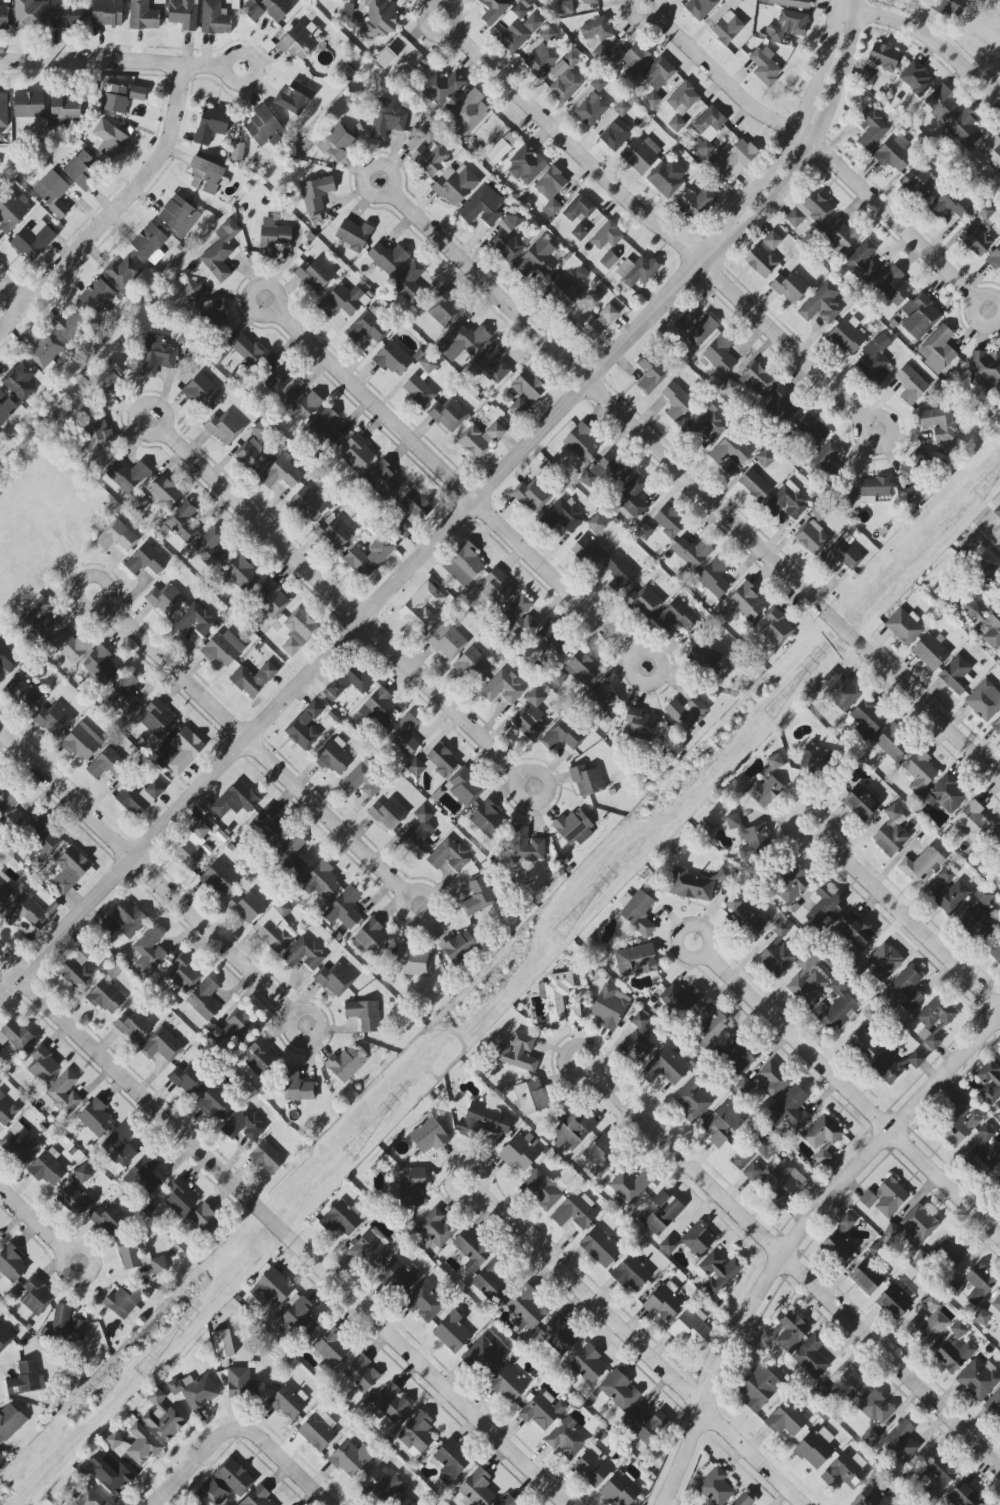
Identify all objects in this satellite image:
building: (344, 0)
building: (590, 1)
building: (734, 3)
building: (789, 3)
building: (565, 7)
building: (949, 7)
building: (277, 8)
building: (700, 8)
road: (430, 10)
building: (494, 10)
building: (252, 11)
building: (107, 13)
building: (29, 14)
building: (66, 14)
building: (184, 14)
building: (143, 16)
building: (3, 17)
building: (215, 18)
building: (379, 19)
road: (642, 22)
building: (789, 25)
building: (727, 28)
building: (597, 30)
building: (548, 35)
road: (928, 36)
building: (510, 37)
building: (300, 41)
road: (229, 60)
building: (540, 60)
building: (631, 60)
road: (113, 61)
building: (879, 63)
building: (765, 66)
building: (658, 74)
building: (565, 77)
building: (916, 79)
building: (598, 84)
building: (441, 86)
building: (137, 93)
road: (998, 97)
building: (114, 98)
building: (294, 99)
building: (683, 99)
building: (652, 100)
building: (29, 104)
building: (942, 104)
building: (621, 108)
building: (65, 109)
building: (591, 109)
building: (3, 111)
building: (468, 114)
building: (387, 119)
building: (211, 124)
building: (676, 124)
building: (264, 127)
building: (871, 128)
building: (708, 129)
building: (965, 129)
building: (429, 134)
building: (615, 135)
building: (109, 140)
road: (788, 140)
building: (337, 142)
road: (810, 149)
building: (990, 150)
road: (820, 151)
building: (640, 154)
building: (894, 154)
building: (738, 158)
building: (430, 159)
building: (526, 165)
building: (81, 170)
road: (367, 170)
building: (999, 175)
building: (205, 176)
building: (667, 177)
building: (921, 182)
building: (455, 185)
building: (551, 189)
building: (52, 192)
building: (316, 193)
building: (696, 202)
building: (950, 204)
building: (482, 206)
road: (113, 208)
building: (579, 208)
building: (811, 210)
building: (12, 211)
building: (178, 216)
road: (657, 225)
building: (580, 232)
building: (840, 234)
building: (354, 235)
building: (607, 236)
building: (273, 237)
building: (508, 237)
building: (33, 240)
building: (975, 240)
building: (149, 241)
building: (771, 241)
building: (221, 251)
building: (388, 258)
building: (994, 259)
building: (536, 260)
building: (760, 261)
building: (863, 262)
building: (636, 271)
building: (123, 272)
building: (315, 274)
building: (412, 282)
building: (789, 286)
building: (894, 286)
building: (192, 289)
road: (12, 290)
building: (564, 292)
building: (97, 297)
building: (343, 301)
building: (821, 305)
road: (279, 309)
building: (445, 309)
road: (970, 311)
building: (213, 314)
building: (918, 315)
building: (594, 321)
building: (71, 326)
building: (367, 328)
building: (694, 330)
building: (847, 336)
building: (468, 338)
building: (938, 348)
building: (247, 350)
building: (45, 351)
building: (720, 354)
building: (157, 355)
building: (393, 359)
building: (875, 360)
building: (493, 362)
building: (427, 365)
building: (985, 368)
building: (651, 373)
building: (276, 375)
building: (104, 377)
building: (757, 379)
building: (20, 381)
building: (910, 385)
building: (529, 386)
building: (730, 388)
building: (202, 391)
building: (419, 391)
building: (677, 402)
building: (301, 403)
building: (781, 404)
building: (6, 408)
building: (518, 408)
building: (448, 414)
road: (865, 420)
building: (705, 423)
building: (940, 426)
road: (166, 427)
building: (224, 427)
building: (324, 428)
building: (496, 431)
building: (811, 431)
building: (97, 433)
building: (474, 443)
building: (581, 443)
building: (730, 450)
building: (358, 453)
building: (251, 457)
building: (765, 458)
building: (826, 459)
building: (614, 467)
building: (730, 467)
building: (281, 473)
building: (128, 475)
building: (383, 480)
road: (697, 482)
road: (456, 485)
building: (755, 485)
building: (874, 487)
building: (164, 494)
building: (532, 494)
building: (910, 495)
power tower: (978, 496)
building: (632, 497)
building: (787, 502)
building: (308, 504)
building: (994, 508)
building: (411, 513)
building: (562, 516)
building: (183, 521)
building: (669, 521)
building: (596, 524)
building: (643, 531)
building: (334, 533)
building: (116, 537)
building: (812, 538)
building: (211, 548)
building: (587, 551)
building: (692, 552)
building: (841, 554)
building: (369, 557)
building: (146, 560)
building: (464, 564)
building: (619, 573)
building: (242, 574)
building: (982, 576)
building: (715, 577)
building: (496, 588)
road: (110, 598)
building: (166, 599)
building: (271, 600)
building: (645, 601)
building: (747, 602)
road: (341, 603)
building: (423, 606)
building: (519, 616)
building: (676, 616)
building: (40, 617)
building: (195, 620)
building: (985, 623)
building: (904, 626)
building: (774, 628)
road: (351, 630)
building: (298, 632)
building: (447, 641)
building: (550, 642)
building: (71, 645)
building: (223, 648)
building: (930, 652)
road: (641, 653)
building: (7, 658)
building: (706, 660)
building: (100, 665)
building: (473, 666)
building: (582, 668)
building: (956, 675)
building: (253, 679)
building: (348, 681)
building: (502, 688)
building: (842, 693)
building: (122, 695)
building: (24, 696)
building: (984, 701)
building: (601, 703)
building: (380, 709)
building: (687, 714)
power tower: (767, 715)
building: (531, 716)
building: (156, 718)
building: (53, 719)
building: (865, 720)
building: (641, 722)
building: (997, 725)
building: (305, 727)
building: (404, 735)
building: (563, 736)
building: (81, 744)
building: (891, 746)
building: (185, 750)
road: (256, 750)
building: (334, 757)
building: (814, 758)
building: (775, 762)
building: (435, 763)
building: (108, 765)
building: (919, 771)
road: (525, 772)
building: (587, 781)
building: (361, 782)
building: (2, 786)
building: (465, 788)
building: (764, 791)
building: (946, 795)
building: (139, 797)
building: (235, 800)
building: (861, 802)
building: (10, 810)
road: (795, 812)
building: (388, 814)
building: (487, 819)
building: (972, 821)
building: (268, 827)
building: (574, 828)
building: (891, 832)
building: (419, 834)
building: (45, 838)
building: (749, 838)
building: (994, 840)
building: (526, 845)
building: (192, 847)
building: (291, 855)
building: (448, 856)
building: (921, 866)
building: (70, 869)
road: (146, 872)
building: (220, 878)
building: (320, 880)
building: (695, 883)
building: (792, 883)
building: (5, 891)
road: (414, 891)
building: (949, 892)
building: (478, 896)
building: (825, 906)
building: (248, 907)
building: (346, 907)
building: (283, 908)
building: (23, 911)
building: (638, 913)
building: (745, 916)
building: (130, 919)
road: (910, 920)
building: (978, 924)
building: (109, 926)
building: (274, 930)
road: (681, 932)
building: (854, 933)
power tower: (559, 934)
building: (373, 938)
building: (459, 946)
building: (151, 947)
building: (995, 951)
building: (777, 952)
building: (304, 954)
building: (415, 960)
building: (635, 960)
building: (884, 963)
building: (77, 968)
building: (335, 978)
building: (807, 979)
building: (904, 990)
building: (556, 995)
building: (106, 996)
building: (204, 999)
building: (681, 999)
building: (838, 1006)
building: (610, 1007)
road: (297, 1010)
building: (573, 1013)
building: (365, 1014)
building: (934, 1021)
building: (713, 1024)
building: (134, 1025)
building: (239, 1025)
building: (215, 1035)
building: (15, 1036)
building: (638, 1041)
building: (162, 1045)
building: (863, 1045)
building: (517, 1052)
road: (569, 1052)
building: (741, 1056)
building: (261, 1057)
building: (915, 1059)
building: (345, 1064)
building: (887, 1065)
building: (43, 1066)
building: (665, 1068)
building: (189, 1080)
building: (771, 1081)
building: (990, 1081)
building: (298, 1086)
building: (744, 1086)
building: (63, 1093)
road: (853, 1096)
building: (531, 1097)
building: (693, 1101)
building: (960, 1102)
building: (216, 1103)
building: (790, 1110)
building: (7, 1112)
building: (96, 1118)
building: (488, 1120)
building: (244, 1125)
building: (722, 1125)
building: (958, 1127)
building: (573, 1129)
building: (428, 1134)
building: (823, 1137)
building: (21, 1143)
building: (119, 1145)
building: (754, 1151)
building: (985, 1152)
building: (519, 1153)
power tower: (349, 1154)
building: (599, 1156)
building: (267, 1157)
building: (47, 1168)
road: (456, 1169)
building: (146, 1172)
building: (752, 1172)
building: (783, 1183)
building: (630, 1185)
building: (998, 1186)
building: (409, 1187)
building: (543, 1189)
building: (886, 1197)
building: (181, 1198)
building: (73, 1200)
building: (575, 1212)
building: (662, 1213)
building: (110, 1218)
building: (342, 1219)
building: (207, 1220)
road: (33, 1221)
building: (846, 1222)
building: (918, 1225)
building: (437, 1228)
road: (283, 1232)
road: (799, 1239)
building: (690, 1241)
building: (600, 1247)
building: (838, 1247)
building: (371, 1249)
building: (471, 1250)
building: (950, 1251)
building: (128, 1253)
road: (66, 1254)
building: (12, 1264)
building: (158, 1266)
road: (797, 1269)
building: (720, 1272)
building: (631, 1273)
building: (397, 1277)
building: (867, 1278)
building: (490, 1282)
building: (979, 1284)
building: (954, 1287)
building: (272, 1288)
building: (35, 1296)
building: (123, 1300)
building: (894, 1301)
building: (425, 1302)
building: (663, 1303)
building: (527, 1307)
building: (988, 1313)
building: (927, 1324)
building: (67, 1325)
building: (690, 1328)
building: (959, 1329)
building: (786, 1332)
building: (452, 1334)
building: (559, 1335)
building: (4, 1338)
building: (222, 1344)
building: (330, 1348)
road: (640, 1348)
building: (485, 1352)
building: (955, 1354)
building: (811, 1356)
building: (588, 1365)
power tower: (140, 1373)
building: (361, 1373)
building: (25, 1379)
building: (978, 1379)
building: (240, 1381)
building: (508, 1385)
building: (852, 1385)
building: (759, 1388)
building: (620, 1390)
building: (195, 1391)
building: (288, 1402)
building: (391, 1403)
building: (994, 1403)
building: (876, 1408)
building: (543, 1410)
building: (162, 1416)
building: (786, 1419)
building: (10, 1421)
building: (645, 1425)
building: (318, 1429)
building: (416, 1435)
building: (870, 1437)
building: (566, 1439)
building: (901, 1442)
building: (136, 1444)
building: (816, 1448)
building: (350, 1458)
road: (282, 1460)
building: (449, 1462)
road: (188, 1466)
building: (592, 1468)
building: (845, 1470)
building: (108, 1473)
building: (939, 1475)
building: (234, 1477)
building: (383, 1483)
building: (716, 1487)
building: (477, 1488)
building: (620, 1490)
building: (214, 1491)
building: (963, 1495)
building: (257, 1497)
building: (871, 1497)
building: (88, 1498)
building: (743, 1500)
building: (406, 1501)
building: (509, 1501)
building: (198, 1504)

